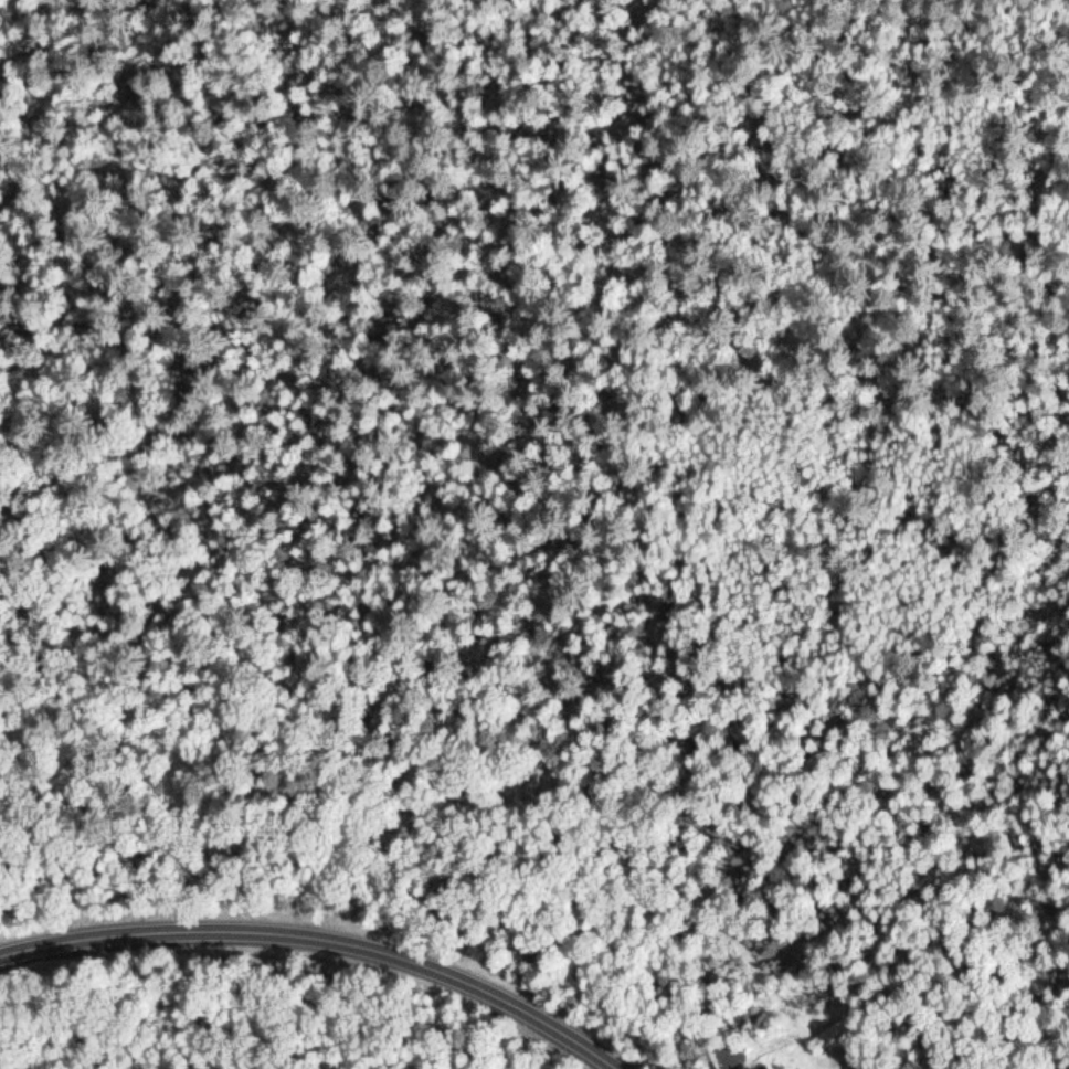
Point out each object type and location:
road: (326, 933)
building: (833, 1035)
building: (765, 1068)

